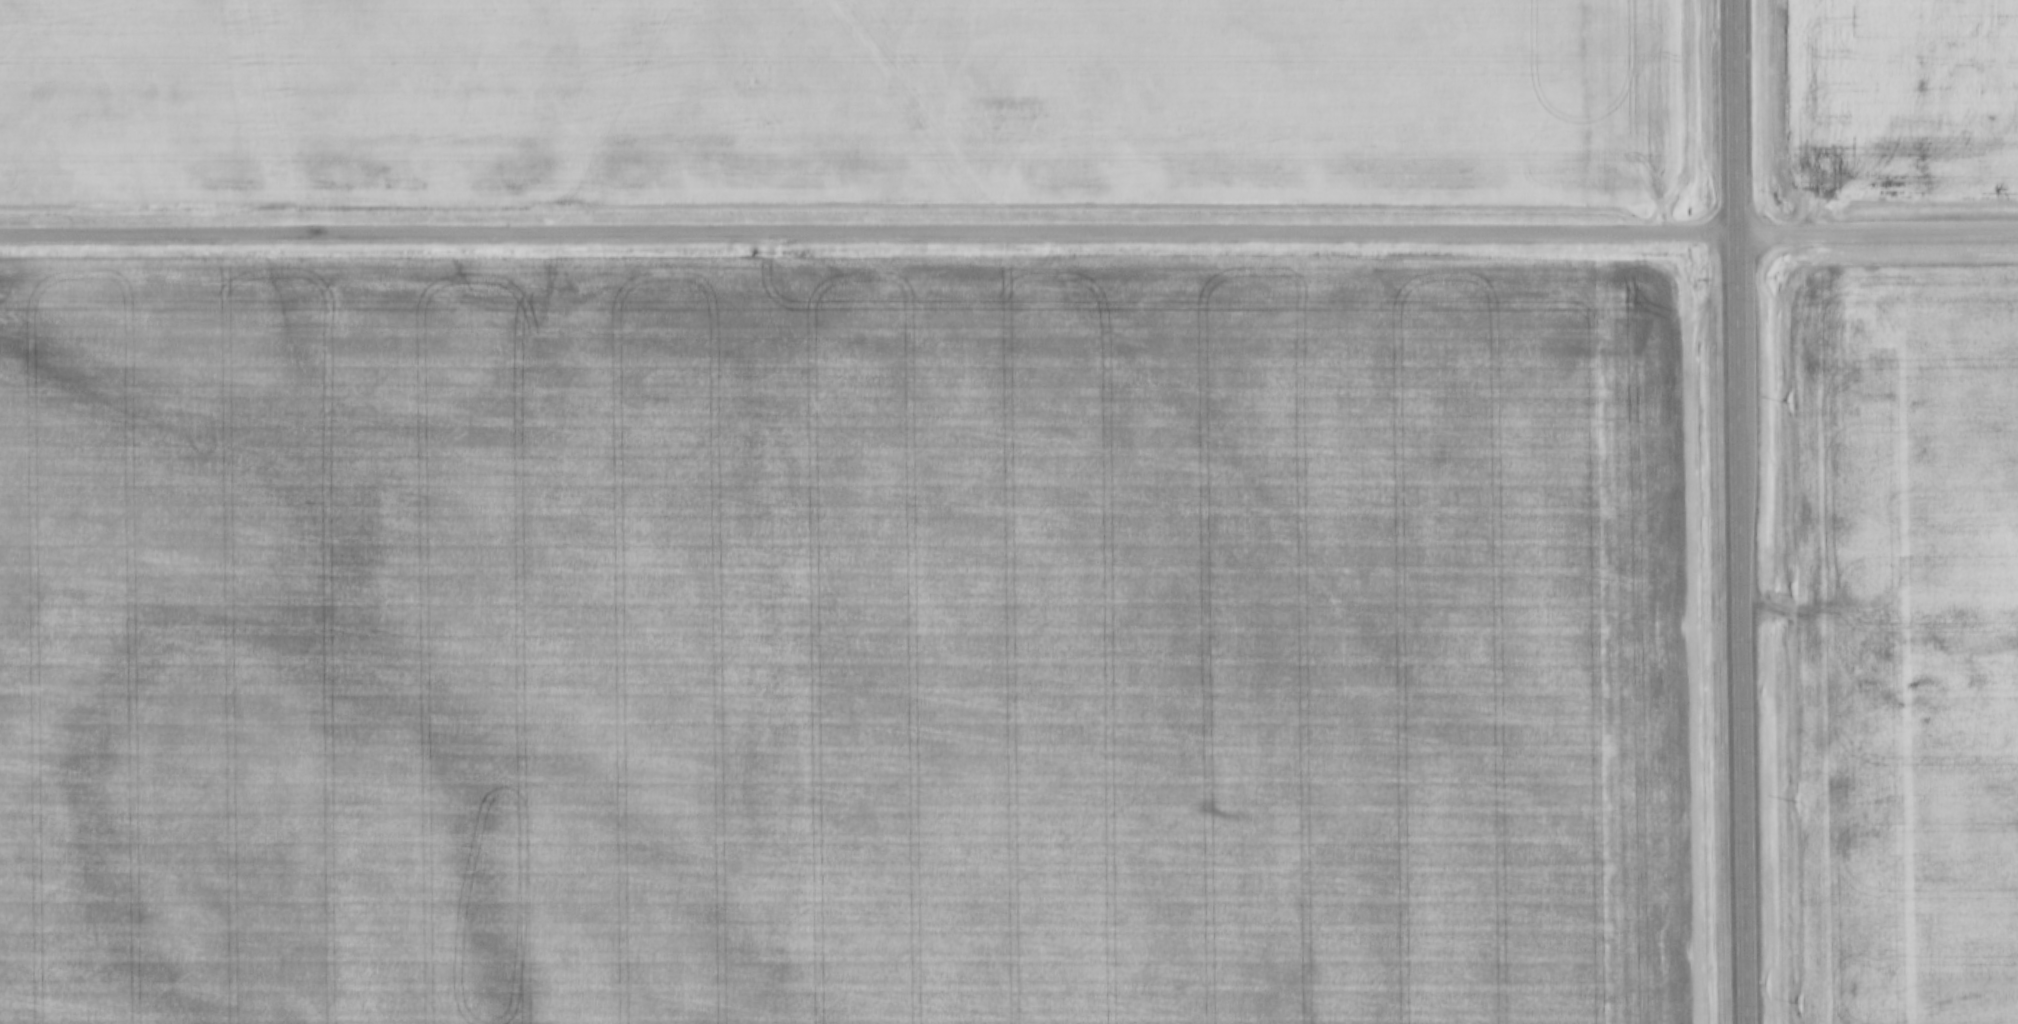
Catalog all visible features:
crop: (837, 101)
road: (870, 231)
road: (1880, 233)
road: (1744, 512)

